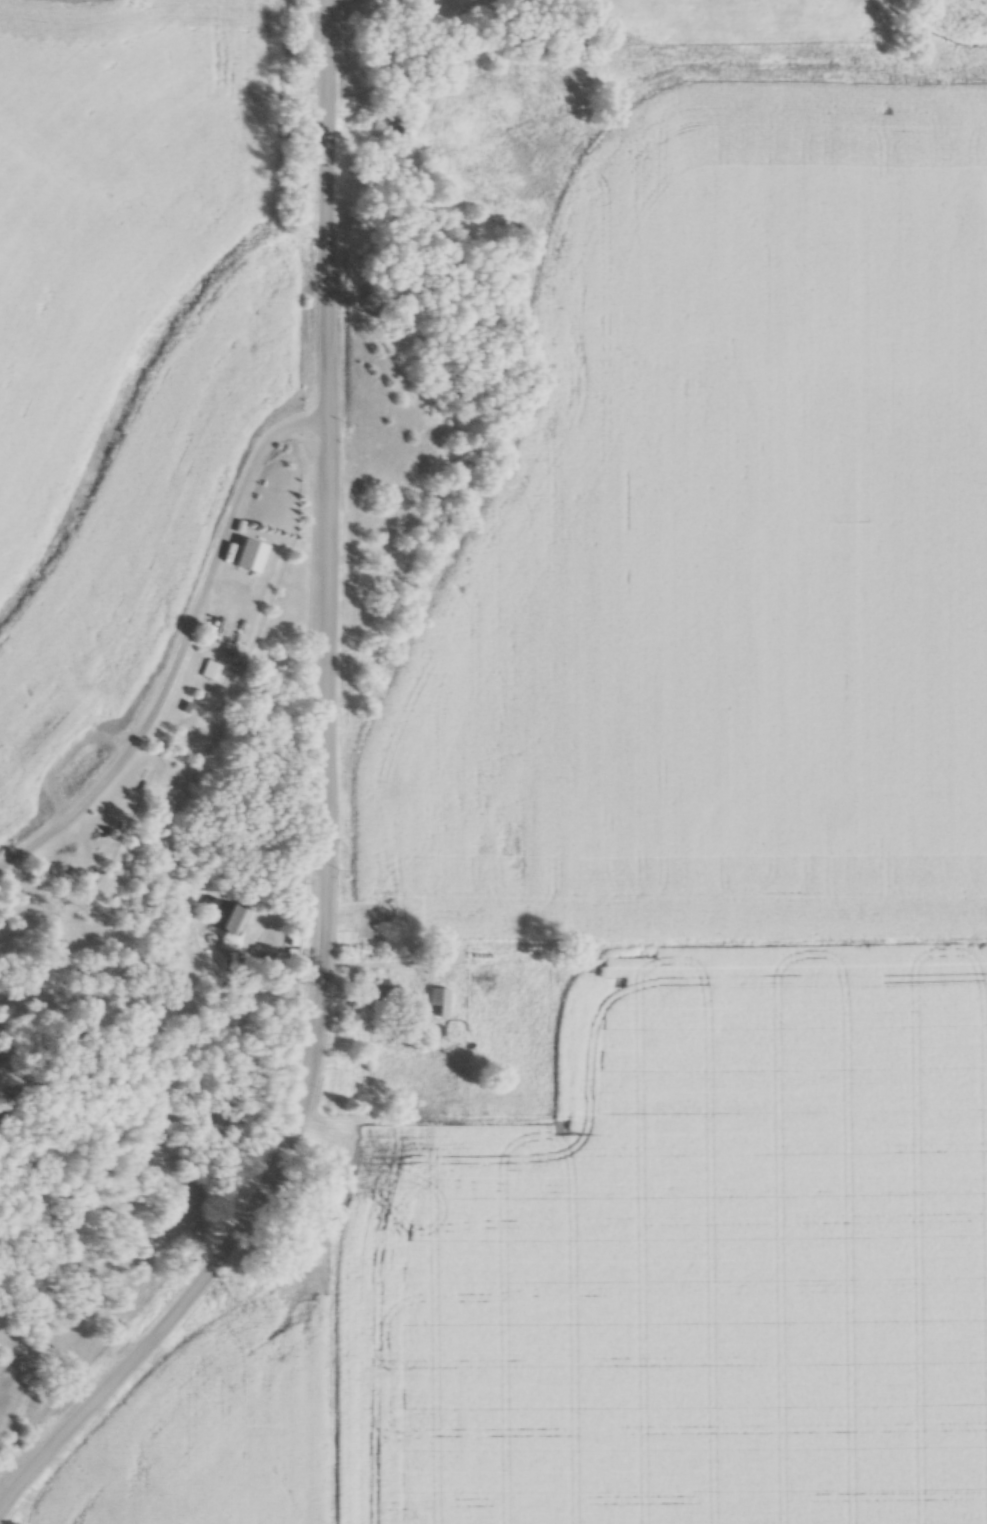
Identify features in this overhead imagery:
road: (330, 473)
road: (179, 645)
road: (268, 1194)

